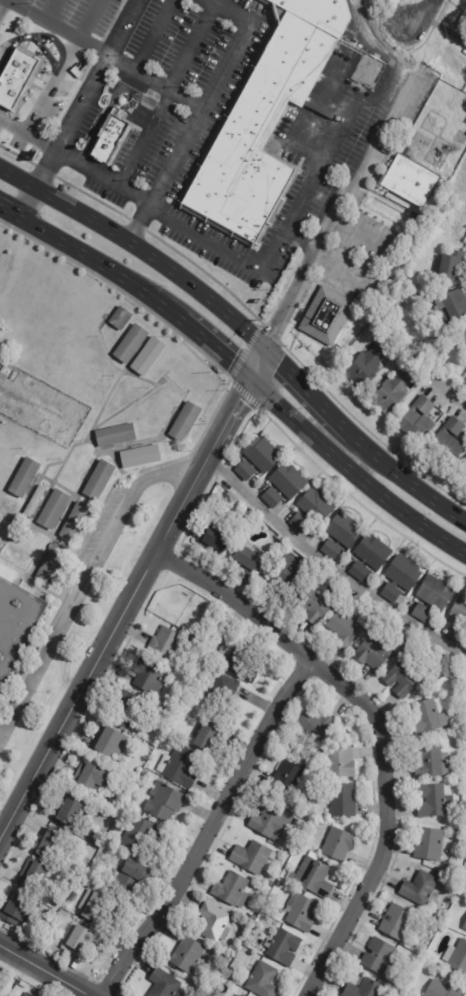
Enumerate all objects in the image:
road: (4, 13)
road: (421, 13)
road: (121, 29)
road: (192, 48)
road: (103, 56)
building: (26, 78)
road: (205, 115)
building: (266, 118)
road: (70, 126)
road: (29, 132)
building: (110, 138)
road: (142, 138)
road: (326, 148)
road: (355, 176)
road: (105, 177)
building: (410, 180)
road: (16, 184)
road: (22, 207)
road: (6, 217)
road: (238, 259)
road: (152, 264)
building: (453, 266)
road: (341, 268)
road: (97, 269)
building: (453, 306)
building: (327, 316)
building: (120, 317)
building: (463, 335)
building: (130, 342)
building: (431, 347)
traffic signals: (262, 352)
road: (211, 353)
building: (148, 355)
road: (418, 365)
building: (366, 366)
traffic signals: (245, 382)
building: (392, 393)
road: (305, 394)
building: (185, 420)
building: (418, 421)
building: (115, 434)
building: (449, 442)
building: (262, 454)
building: (140, 455)
building: (245, 470)
building: (463, 472)
road: (352, 473)
building: (24, 476)
building: (98, 479)
building: (288, 479)
road: (405, 482)
building: (271, 497)
building: (34, 500)
building: (316, 505)
building: (53, 508)
building: (75, 521)
building: (300, 522)
building: (341, 534)
parking lot: (95, 535)
building: (214, 539)
building: (280, 542)
building: (372, 550)
building: (246, 559)
building: (52, 563)
road: (330, 565)
building: (359, 570)
building: (287, 573)
building: (400, 577)
road: (85, 585)
building: (432, 597)
road: (135, 604)
building: (311, 605)
building: (459, 609)
building: (372, 616)
building: (15, 620)
building: (344, 628)
building: (457, 632)
building: (166, 642)
building: (373, 653)
building: (240, 666)
building: (454, 674)
building: (150, 676)
building: (402, 678)
building: (223, 686)
building: (127, 703)
building: (429, 716)
building: (176, 722)
building: (315, 725)
road: (380, 732)
building: (460, 734)
building: (206, 737)
building: (166, 738)
building: (109, 740)
building: (340, 761)
building: (430, 761)
building: (179, 765)
building: (153, 769)
building: (91, 776)
building: (287, 778)
building: (343, 800)
building: (433, 800)
building: (164, 801)
building: (131, 802)
building: (68, 810)
building: (269, 821)
road: (208, 828)
building: (139, 833)
building: (95, 839)
road: (2, 840)
building: (338, 843)
building: (432, 844)
building: (50, 845)
building: (298, 848)
building: (252, 856)
building: (459, 862)
building: (453, 872)
building: (30, 875)
building: (313, 877)
building: (89, 880)
building: (130, 880)
building: (279, 884)
building: (419, 888)
building: (231, 889)
building: (464, 892)
building: (57, 904)
building: (94, 905)
building: (17, 909)
building: (62, 912)
building: (302, 912)
building: (50, 914)
building: (252, 917)
building: (214, 923)
building: (399, 924)
building: (465, 927)
building: (77, 940)
building: (247, 943)
building: (282, 947)
building: (187, 954)
building: (62, 955)
building: (378, 955)
building: (456, 956)
building: (225, 959)
road: (45, 971)
building: (0, 975)
building: (263, 980)
building: (23, 984)
building: (163, 984)
building: (365, 989)
building: (413, 989)
building: (443, 990)
building: (32, 995)
building: (238, 995)
building: (241, 995)
building: (245, 995)

